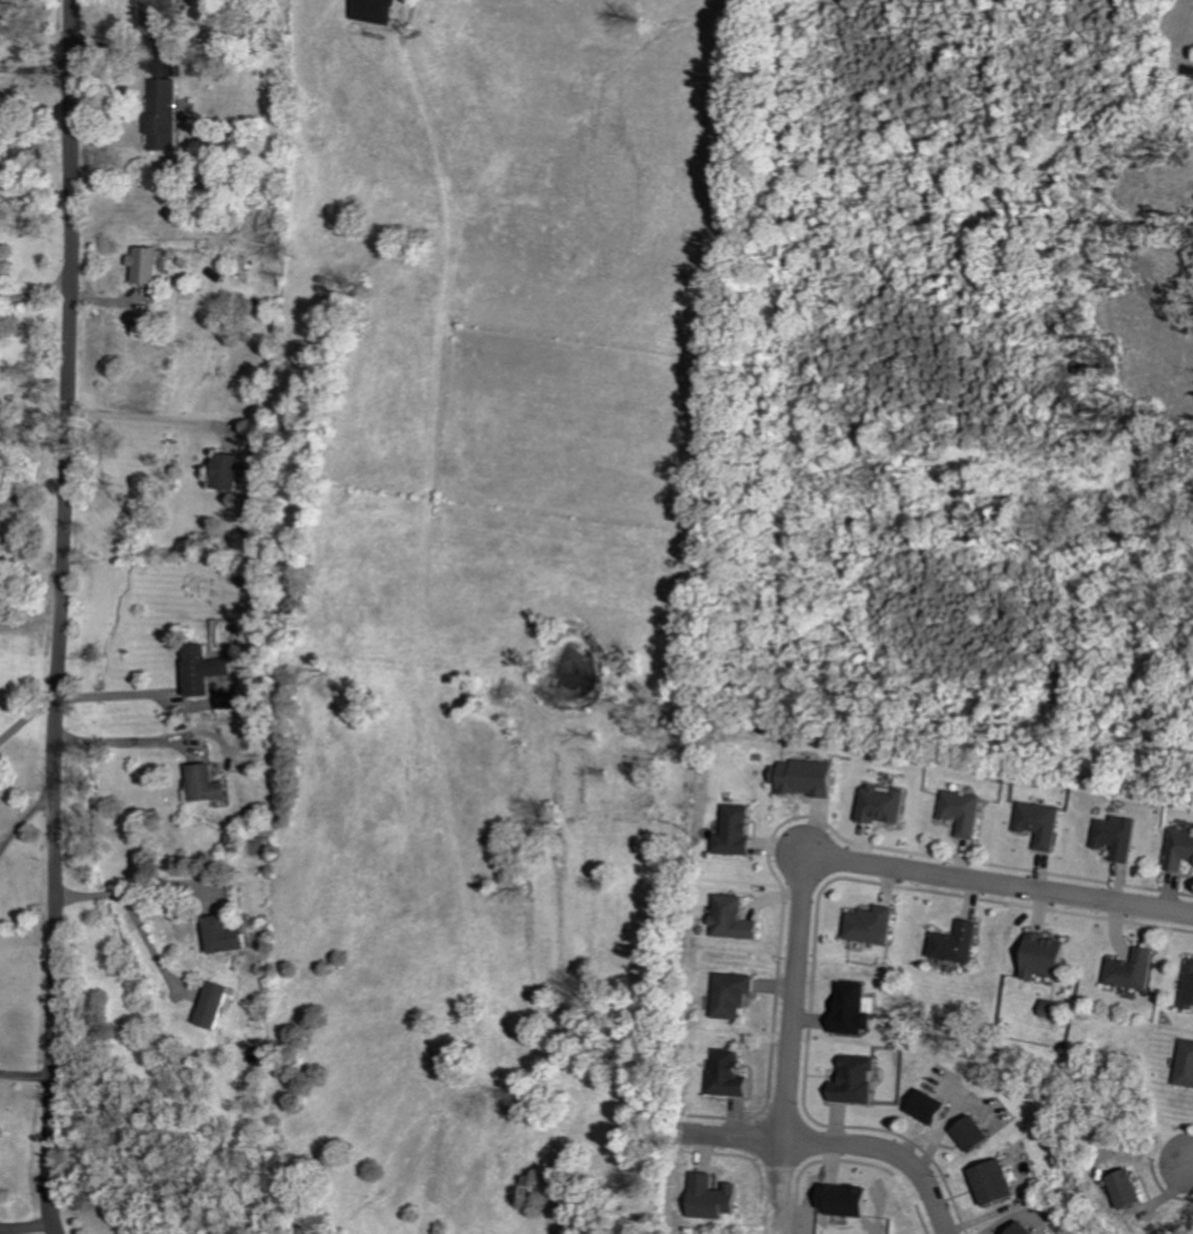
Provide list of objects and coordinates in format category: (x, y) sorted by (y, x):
building: (380, 11)
building: (167, 12)
building: (168, 116)
building: (151, 263)
building: (233, 471)
road: (60, 616)
building: (209, 670)
building: (806, 777)
building: (214, 784)
building: (885, 805)
building: (966, 811)
building: (1042, 823)
building: (737, 832)
building: (1118, 836)
building: (1181, 850)
road: (998, 885)
building: (737, 919)
building: (875, 925)
building: (232, 935)
building: (961, 943)
building: (1049, 956)
building: (1136, 969)
building: (1189, 987)
building: (736, 995)
building: (220, 1004)
building: (1055, 1008)
building: (856, 1010)
road: (792, 1025)
building: (1187, 1064)
building: (734, 1074)
building: (858, 1081)
building: (934, 1108)
building: (978, 1135)
road: (25, 1139)
road: (840, 1139)
building: (998, 1183)
building: (1133, 1189)
building: (718, 1198)
building: (849, 1199)
building: (1027, 1229)

